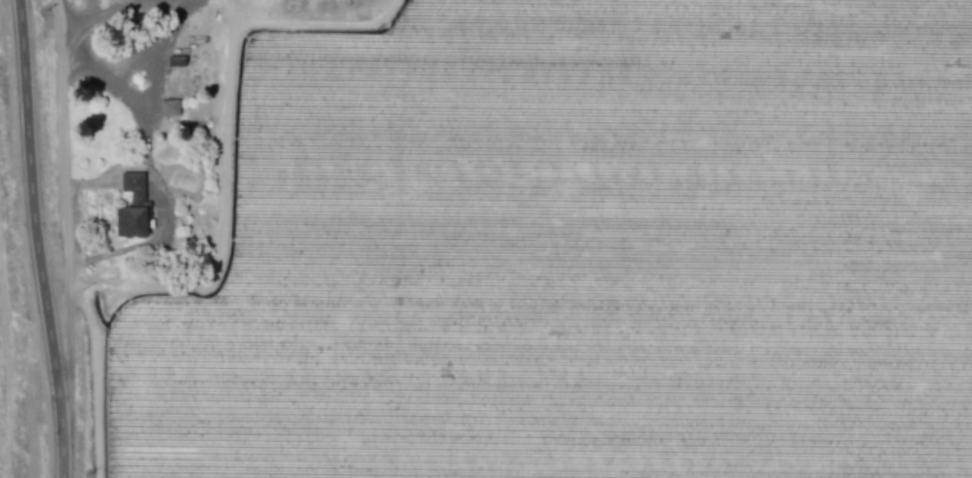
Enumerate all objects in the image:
road: (231, 12)
road: (173, 32)
road: (84, 66)
road: (150, 94)
building: (171, 107)
road: (60, 181)
building: (137, 203)
road: (218, 219)
road: (37, 239)
crop: (557, 249)

